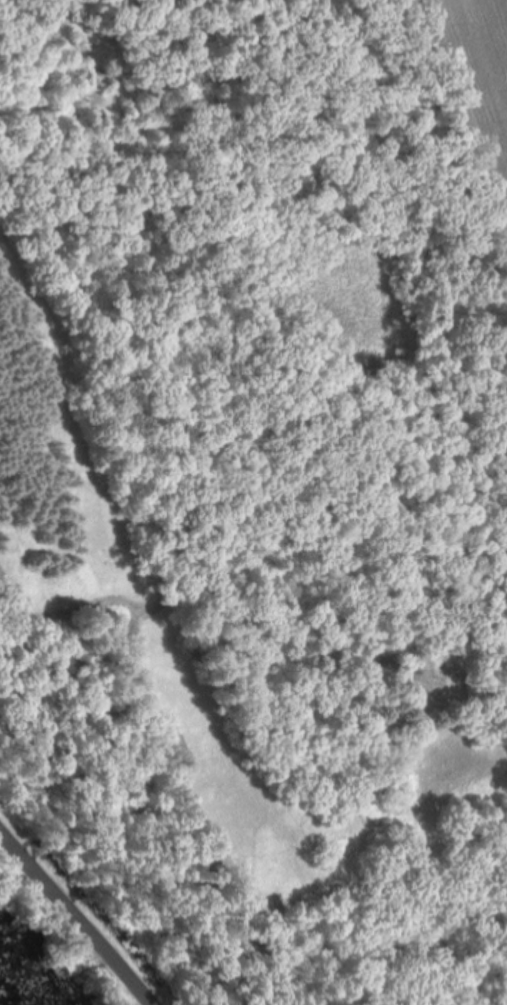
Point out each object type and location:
road: (78, 916)

